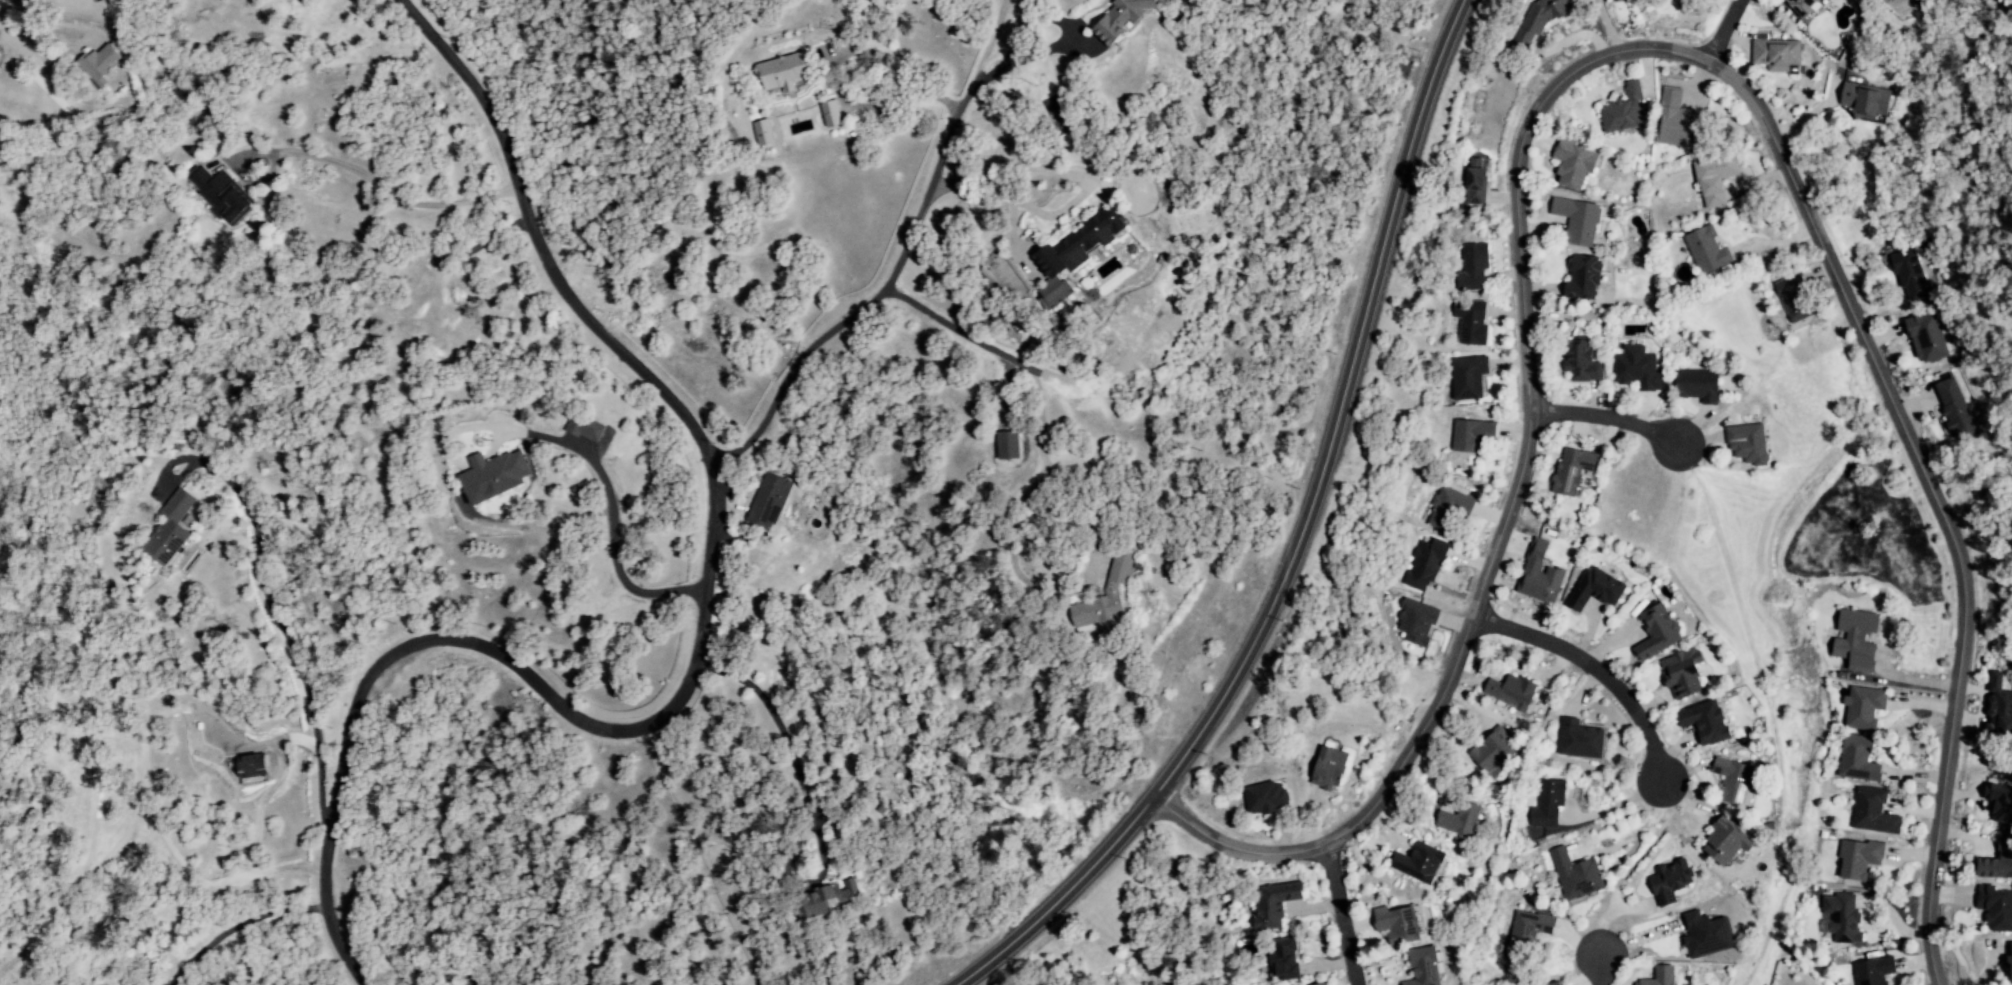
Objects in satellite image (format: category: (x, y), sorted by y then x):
building: (1805, 6)
building: (1545, 14)
building: (1125, 18)
road: (1719, 30)
building: (1522, 41)
road: (1054, 45)
building: (1777, 56)
building: (102, 64)
building: (785, 73)
building: (1867, 101)
building: (1625, 111)
building: (832, 114)
building: (1680, 122)
building: (763, 133)
building: (1576, 164)
road: (1014, 171)
building: (1717, 179)
building: (1477, 187)
road: (385, 190)
building: (223, 196)
building: (1579, 221)
building: (1707, 250)
building: (1075, 255)
road: (897, 260)
building: (1474, 266)
building: (1910, 275)
building: (1584, 277)
building: (1795, 298)
building: (1471, 322)
road: (1528, 328)
road: (958, 332)
building: (1927, 337)
road: (1871, 358)
building: (1583, 362)
building: (1637, 369)
building: (1468, 377)
building: (1698, 385)
building: (1956, 408)
road: (1605, 423)
building: (587, 428)
building: (1468, 437)
building: (1749, 443)
building: (1008, 446)
road: (1323, 462)
building: (1573, 471)
building: (494, 477)
building: (771, 502)
building: (1449, 508)
building: (171, 529)
road: (613, 548)
building: (1428, 565)
building: (1542, 575)
building: (1597, 590)
building: (1107, 597)
road: (267, 600)
building: (1418, 623)
building: (1657, 632)
building: (1851, 639)
road: (702, 648)
building: (1684, 674)
road: (1595, 676)
building: (1512, 691)
building: (1861, 707)
building: (1996, 708)
building: (1707, 722)
road: (782, 736)
building: (1583, 743)
road: (1418, 751)
building: (1494, 751)
building: (1854, 759)
building: (255, 767)
building: (1330, 768)
building: (1728, 780)
building: (1268, 799)
building: (1997, 800)
building: (1549, 804)
building: (1869, 812)
building: (1462, 820)
building: (1721, 841)
building: (1855, 859)
building: (1997, 859)
building: (1422, 863)
building: (1575, 876)
building: (1666, 880)
road: (1075, 881)
building: (828, 900)
building: (1274, 904)
building: (1994, 907)
building: (1838, 918)
road: (1343, 923)
building: (1399, 926)
building: (1527, 929)
building: (1703, 934)
road: (1013, 939)
building: (1286, 959)
building: (2008, 965)
building: (1426, 967)
building: (1872, 970)
road: (1595, 972)
building: (1656, 976)
building: (1322, 984)
building: (1550, 984)

